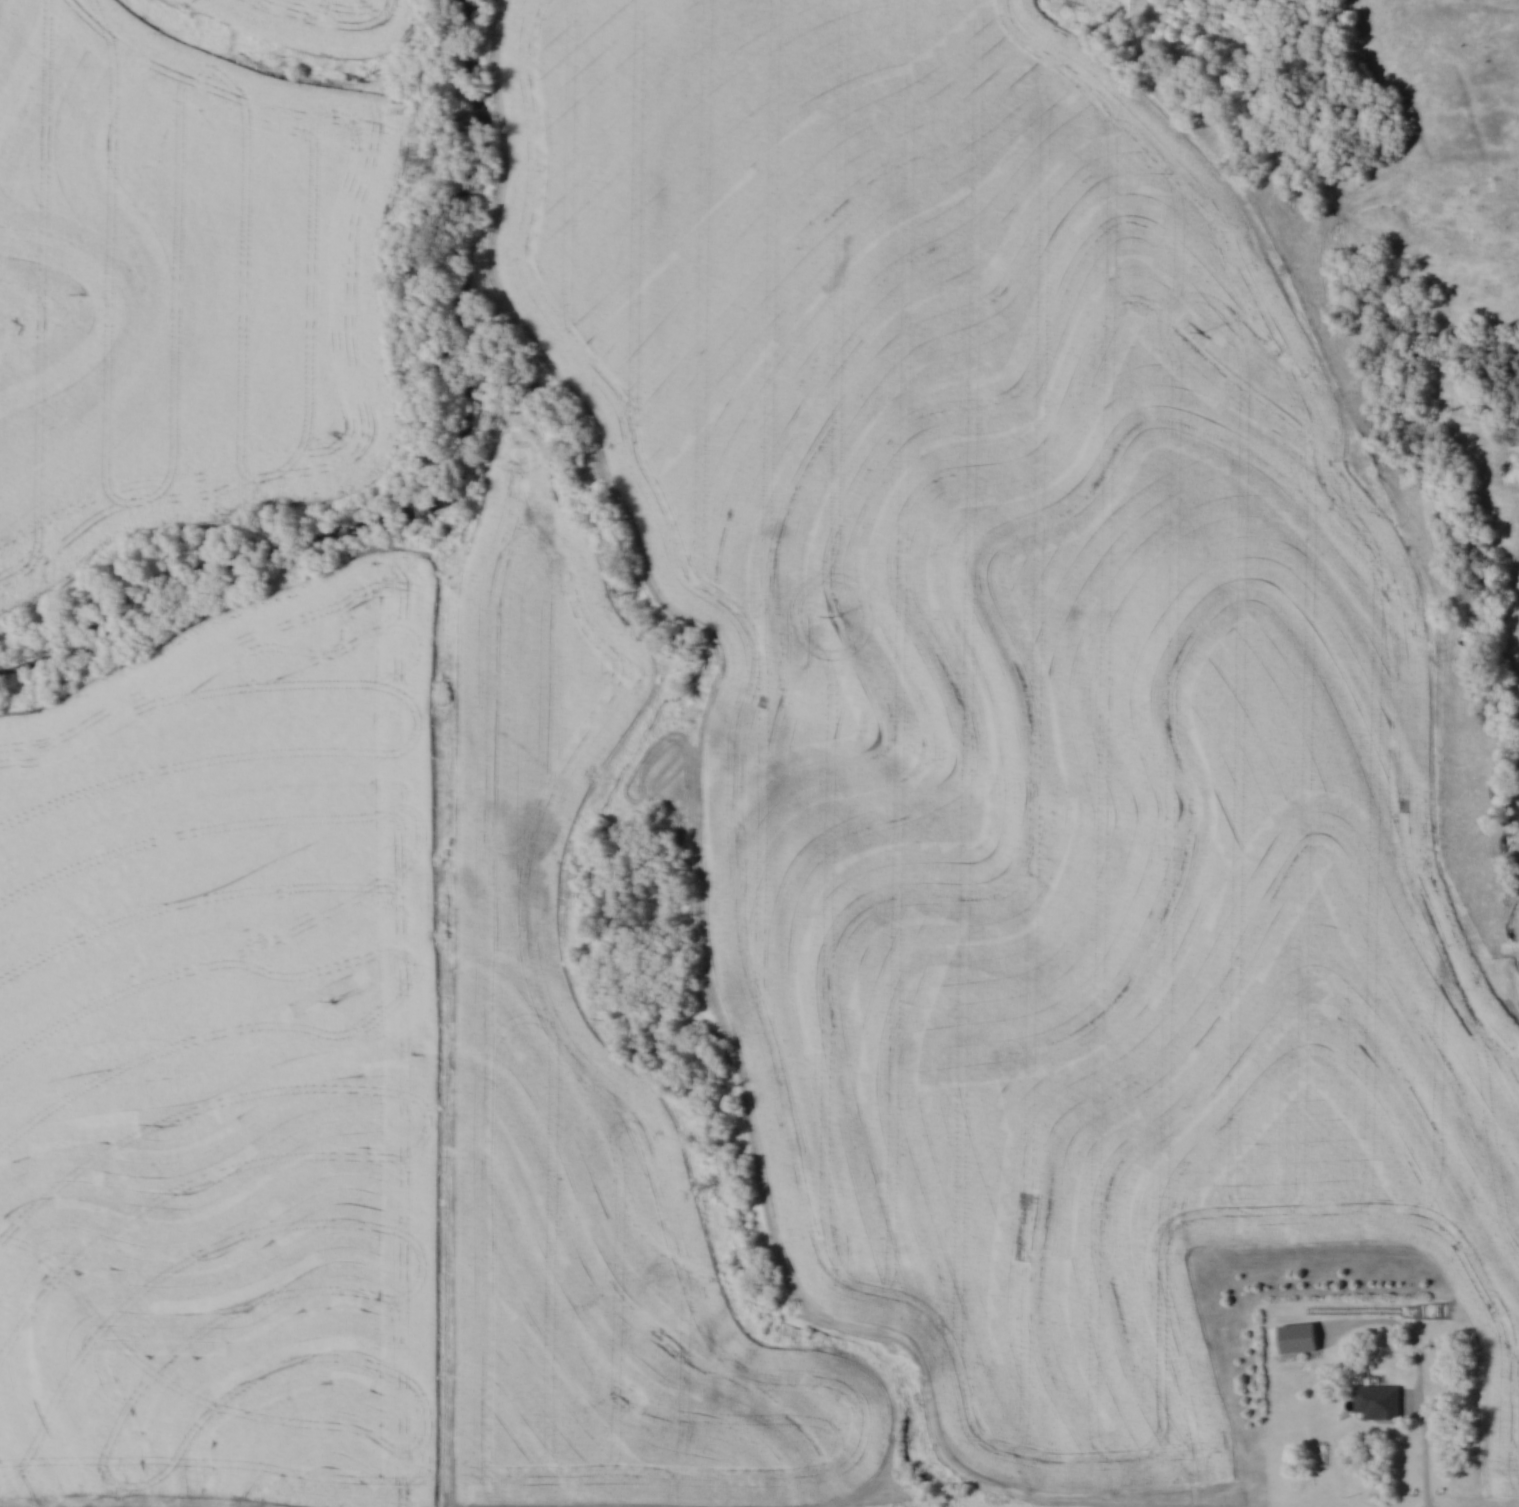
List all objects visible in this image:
building: (1299, 1338)
building: (1378, 1402)
road: (1430, 1449)

